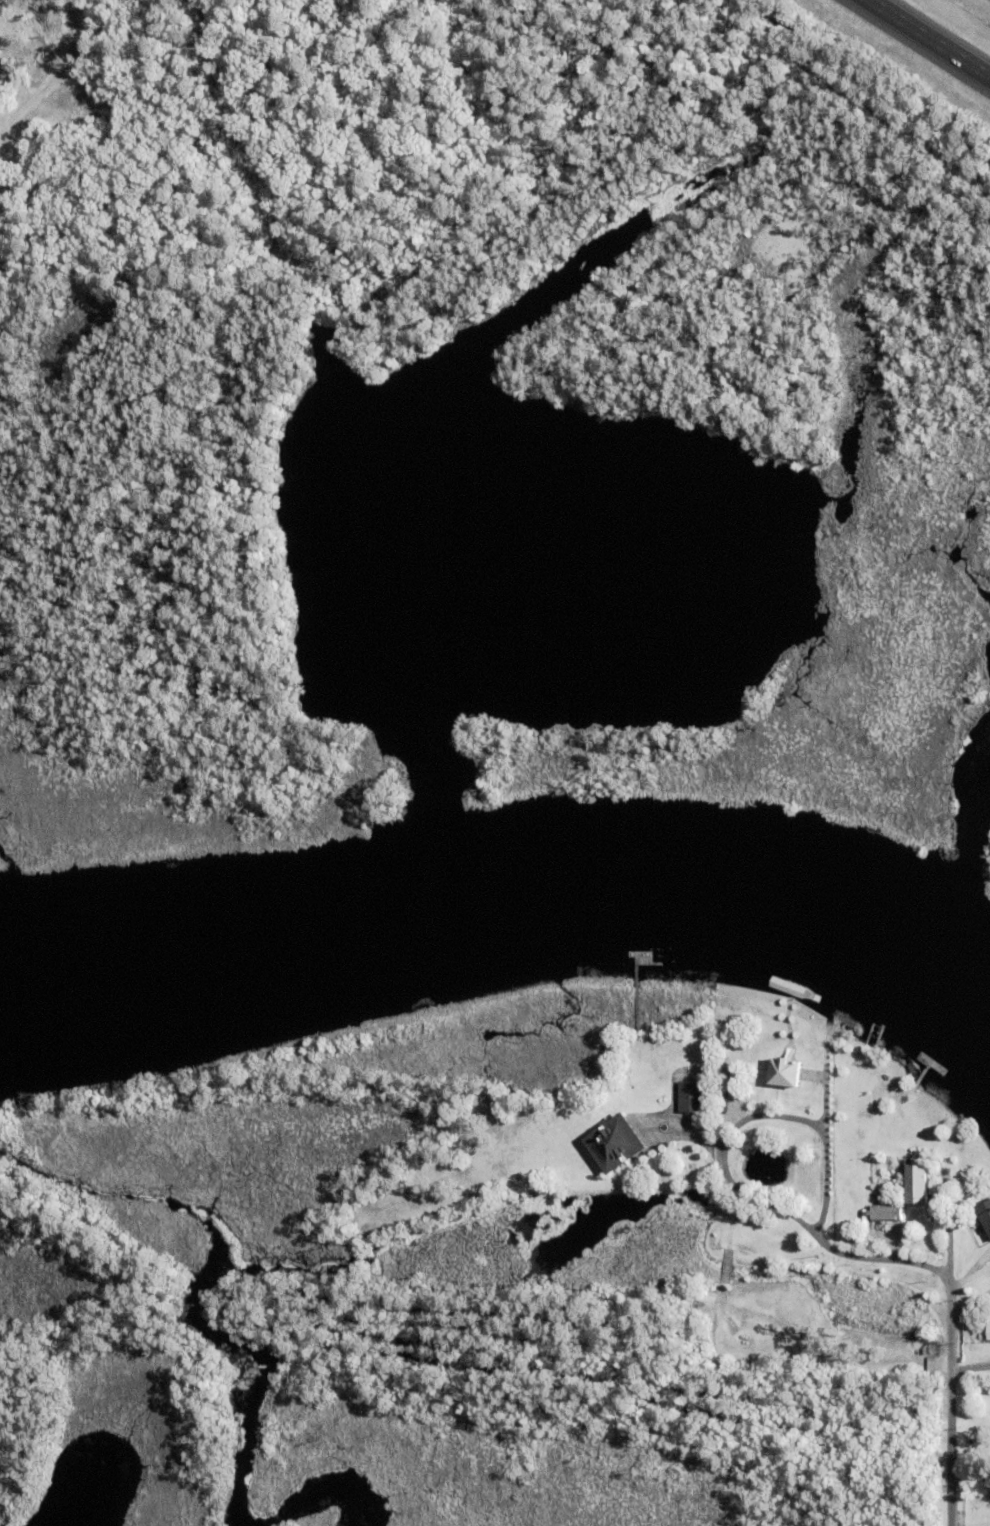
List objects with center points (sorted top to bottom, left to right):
road: (928, 40)
river: (507, 922)
building: (788, 988)
building: (927, 1060)
building: (787, 1073)
building: (732, 1080)
building: (692, 1098)
road: (748, 1117)
building: (617, 1145)
building: (918, 1184)
building: (888, 1214)
building: (986, 1215)
building: (861, 1220)
building: (861, 1239)
building: (989, 1326)
road: (951, 1327)

